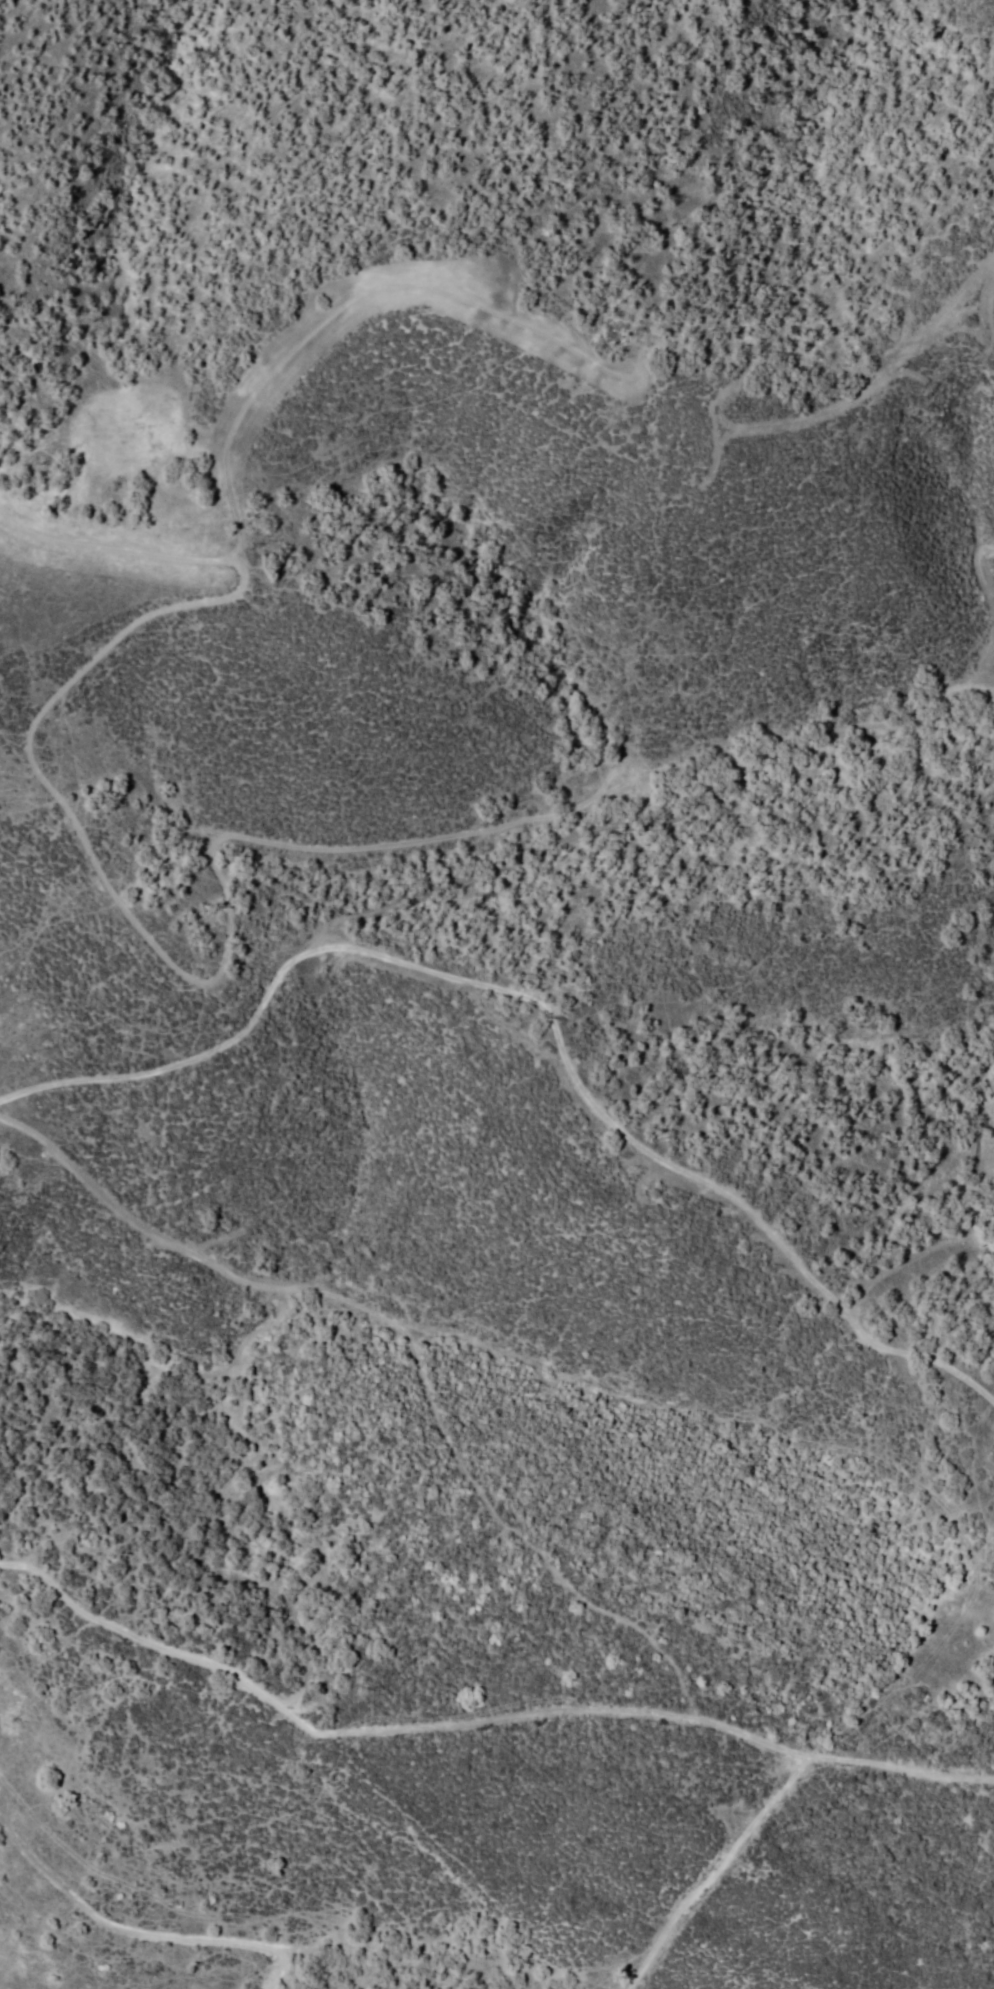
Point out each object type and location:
road: (230, 936)
road: (775, 1799)

